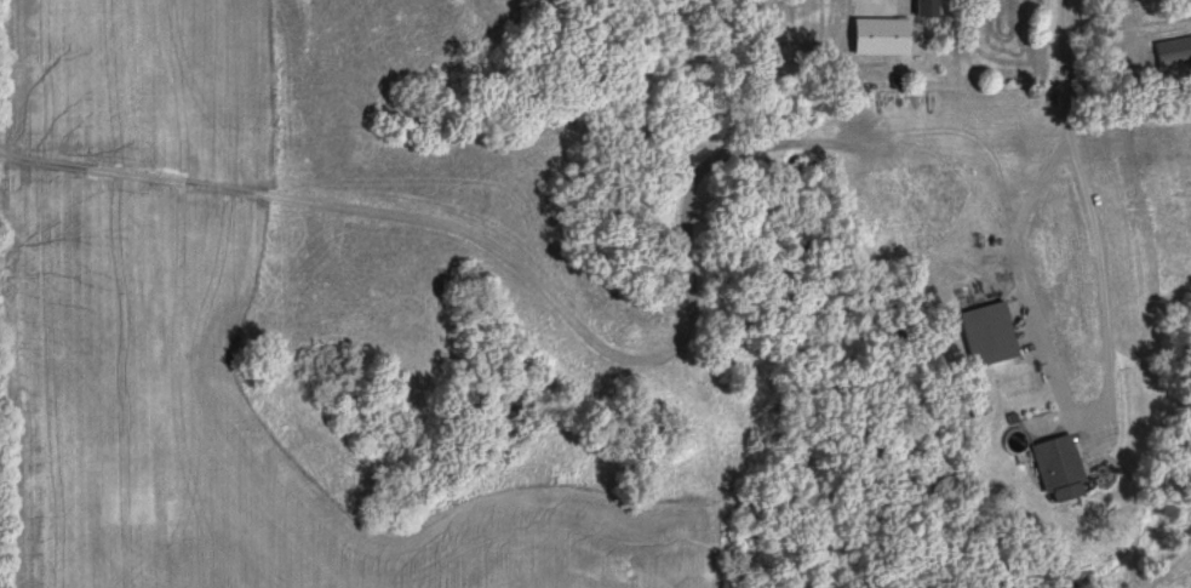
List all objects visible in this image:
road: (892, 6)
building: (928, 8)
road: (1061, 34)
building: (1174, 52)
building: (989, 333)
building: (1060, 469)

